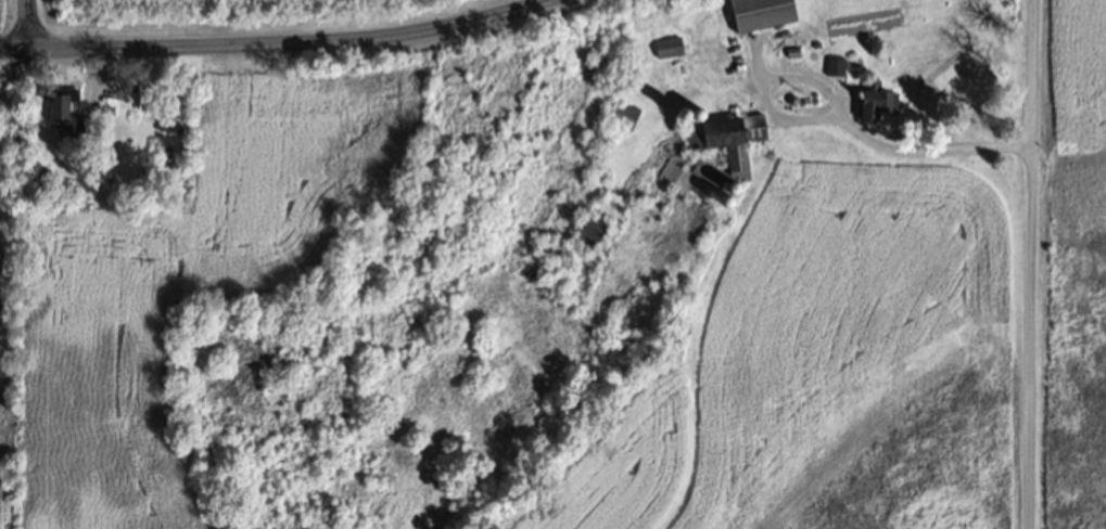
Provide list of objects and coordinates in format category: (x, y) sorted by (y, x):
building: (762, 13)
road: (28, 26)
road: (277, 44)
building: (669, 46)
building: (793, 52)
road: (760, 55)
building: (835, 65)
building: (876, 99)
silo: (794, 100)
silo: (780, 101)
building: (65, 109)
road: (840, 111)
building: (624, 114)
building: (739, 163)
building: (29, 164)
building: (672, 167)
building: (48, 176)
building: (589, 229)
road: (1031, 263)

